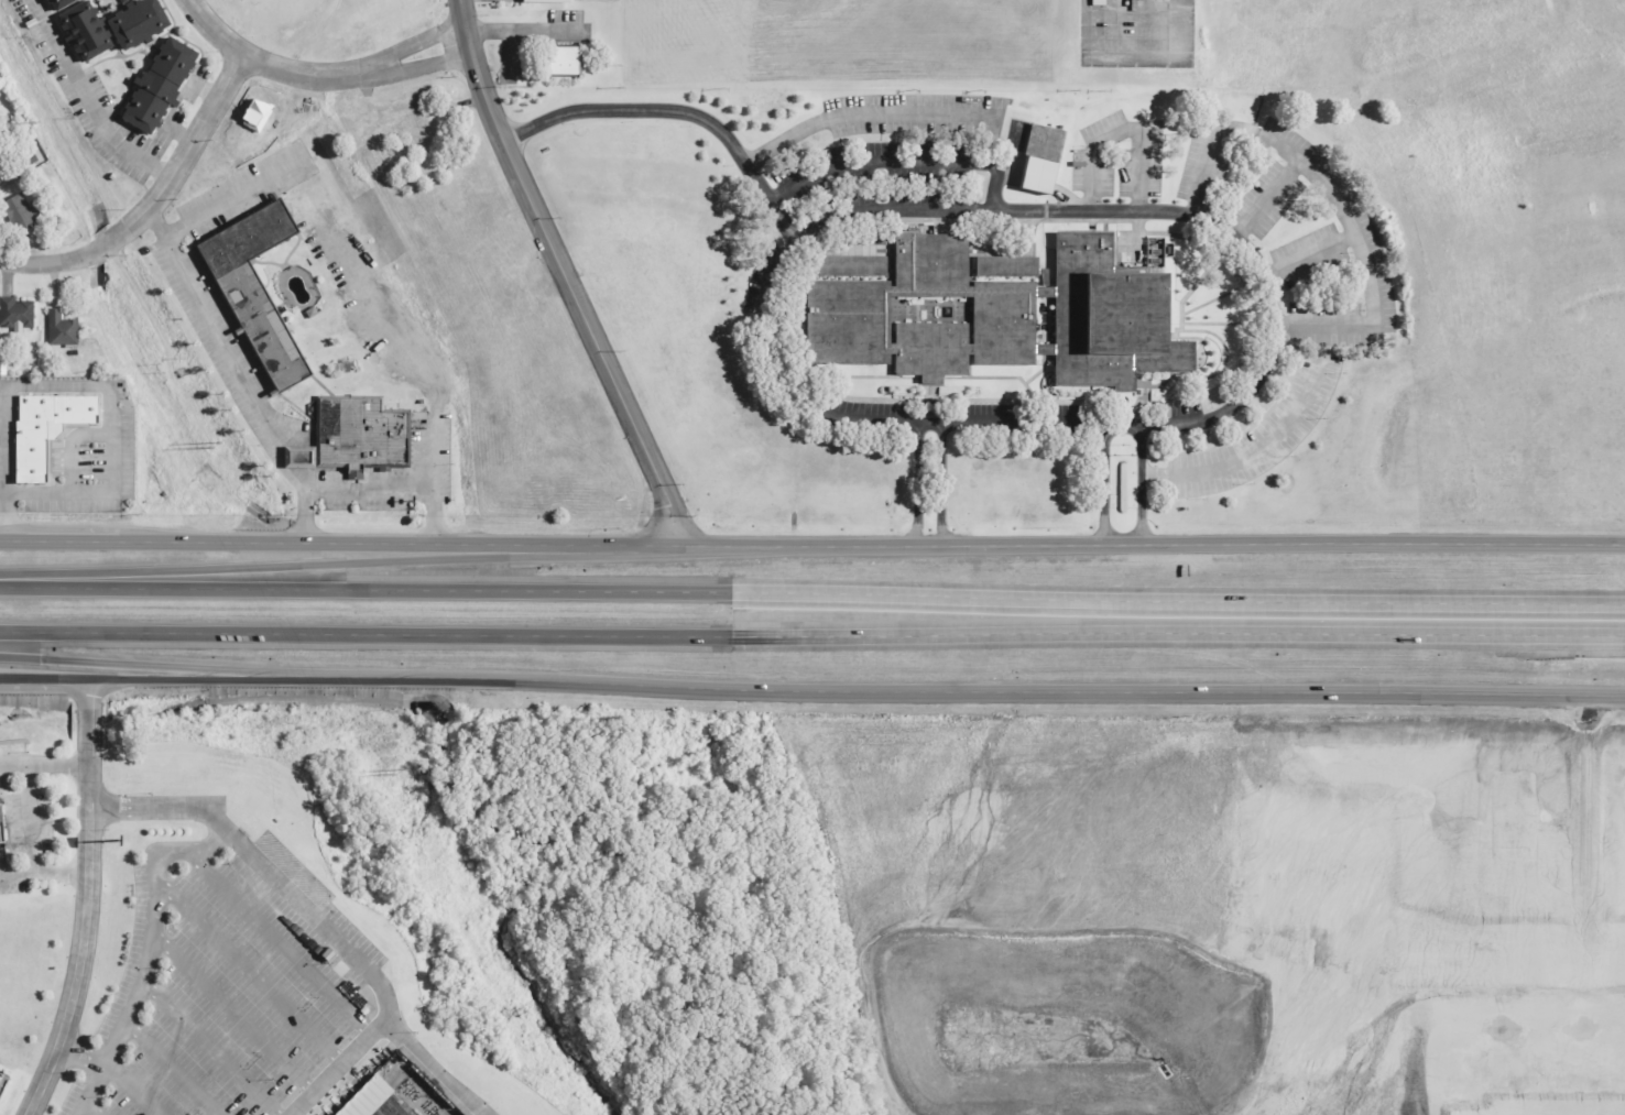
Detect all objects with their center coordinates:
road: (503, 0)
building: (544, 0)
building: (1097, 2)
building: (56, 3)
building: (138, 23)
building: (84, 30)
road: (1131, 52)
building: (563, 59)
road: (320, 76)
building: (159, 84)
road: (87, 99)
road: (678, 111)
road: (886, 113)
power tower: (33, 122)
road: (1123, 128)
building: (1039, 157)
road: (904, 161)
building: (0, 177)
road: (241, 194)
road: (1266, 199)
road: (1332, 199)
road: (152, 201)
building: (17, 214)
road: (790, 238)
road: (1309, 260)
road: (570, 275)
road: (1195, 285)
building: (255, 291)
road: (1222, 297)
building: (15, 311)
building: (996, 313)
road: (1226, 324)
building: (59, 328)
road: (1222, 342)
road: (890, 365)
road: (240, 367)
road: (968, 367)
road: (1040, 372)
road: (877, 376)
road: (929, 378)
road: (999, 378)
road: (929, 382)
road: (88, 386)
road: (1077, 401)
road: (929, 404)
building: (43, 429)
building: (358, 434)
road: (1269, 441)
road: (69, 442)
power tower: (212, 445)
road: (914, 483)
road: (942, 484)
road: (1102, 485)
road: (1143, 485)
road: (395, 488)
road: (2, 490)
road: (811, 545)
road: (249, 560)
road: (364, 589)
road: (1177, 594)
road: (364, 633)
road: (1177, 637)
road: (157, 666)
road: (88, 687)
road: (811, 692)
road: (88, 723)
road: (88, 758)
road: (1513, 763)
road: (43, 766)
power tower: (393, 773)
road: (28, 818)
road: (1575, 818)
road: (1596, 820)
parking lot: (22, 821)
building: (0, 834)
road: (17, 871)
road: (59, 874)
road: (1484, 890)
road: (314, 917)
road: (1603, 938)
road: (1284, 941)
road: (83, 947)
road: (281, 947)
road: (149, 954)
road: (251, 974)
parking lot: (222, 998)
road: (233, 1016)
road: (1457, 1017)
road: (1502, 1017)
road: (1622, 1017)
road: (1421, 1018)
road: (1539, 1018)
road: (1582, 1039)
road: (209, 1048)
road: (83, 1053)
road: (437, 1069)
road: (171, 1070)
parking lot: (2, 1081)
road: (131, 1089)
road: (1429, 1095)
road: (1499, 1095)
building: (364, 1097)
building: (1538, 1106)
building: (1611, 1107)
road: (90, 1111)

